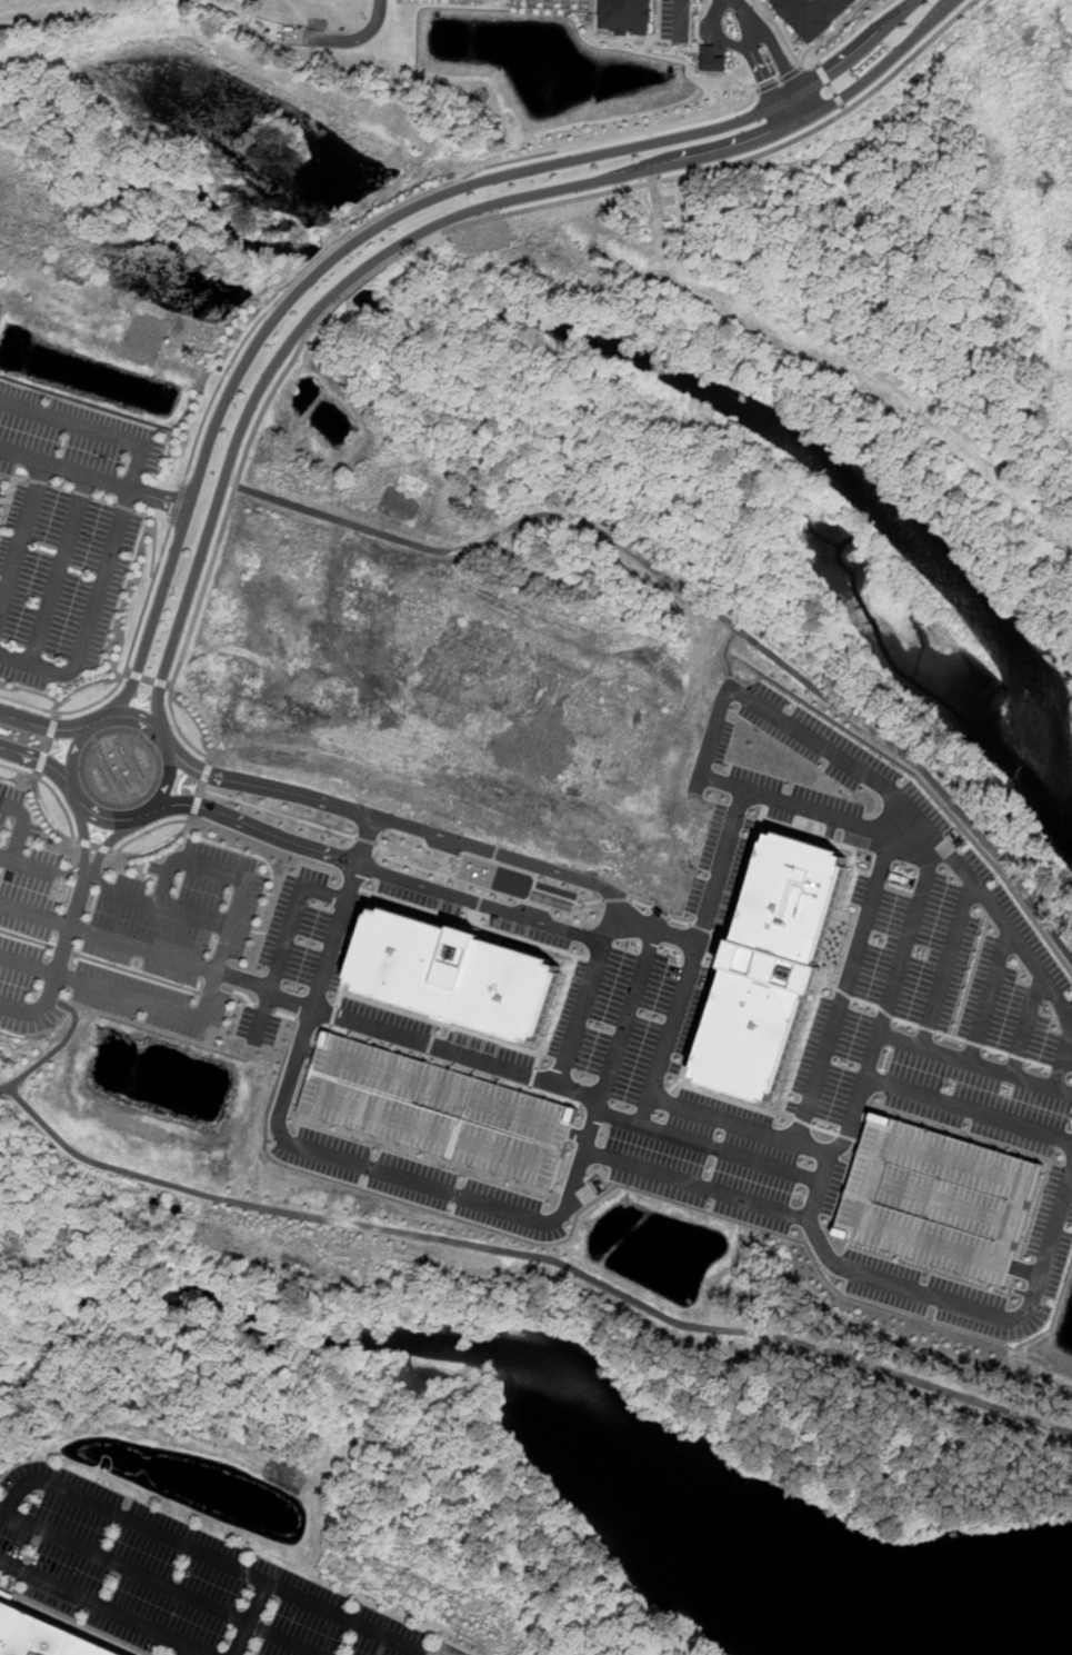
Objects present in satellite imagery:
building: (816, 14)
building: (628, 17)
road: (675, 17)
road: (743, 17)
road: (831, 32)
road: (714, 37)
road: (359, 38)
road: (863, 51)
road: (781, 59)
building: (711, 60)
road: (818, 60)
road: (759, 70)
road: (822, 73)
building: (722, 74)
road: (780, 80)
road: (832, 90)
road: (789, 100)
road: (841, 102)
road: (806, 104)
road: (781, 118)
road: (407, 202)
road: (423, 232)
road: (422, 243)
road: (314, 276)
parking lot: (74, 442)
road: (136, 461)
building: (0, 490)
building: (1, 499)
road: (158, 499)
road: (177, 504)
road: (23, 536)
road: (156, 537)
road: (58, 571)
parking lot: (60, 582)
road: (705, 602)
road: (90, 616)
road: (126, 665)
road: (127, 671)
road: (136, 674)
road: (149, 679)
road: (161, 684)
road: (170, 686)
road: (137, 720)
road: (104, 721)
road: (52, 725)
road: (50, 727)
road: (47, 745)
road: (74, 748)
road: (40, 760)
road: (41, 765)
road: (206, 772)
road: (200, 789)
road: (53, 790)
parking lot: (793, 794)
road: (196, 807)
road: (819, 810)
road: (144, 812)
road: (278, 812)
road: (21, 825)
road: (258, 829)
road: (151, 830)
road: (924, 831)
road: (86, 834)
road: (365, 839)
road: (365, 840)
road: (109, 844)
road: (96, 846)
road: (27, 865)
road: (533, 865)
road: (73, 870)
road: (100, 879)
road: (455, 879)
road: (133, 896)
parking lot: (499, 913)
parking lot: (181, 914)
parking lot: (23, 916)
road: (291, 918)
road: (72, 921)
road: (473, 924)
road: (233, 928)
parking lot: (311, 929)
road: (1011, 931)
road: (657, 934)
road: (337, 935)
road: (28, 938)
road: (109, 939)
road: (354, 949)
road: (64, 950)
road: (29, 961)
road: (946, 965)
building: (771, 966)
road: (138, 974)
building: (457, 974)
road: (212, 989)
road: (243, 993)
road: (989, 997)
road: (54, 999)
parking lot: (151, 1000)
road: (40, 1006)
parking lot: (943, 1008)
road: (267, 1009)
road: (582, 1009)
road: (677, 1010)
road: (334, 1015)
road: (288, 1016)
road: (262, 1017)
road: (625, 1021)
road: (311, 1023)
parking lot: (260, 1026)
road: (1029, 1026)
road: (337, 1027)
road: (492, 1039)
parking lot: (437, 1040)
road: (311, 1049)
road: (53, 1050)
road: (539, 1060)
road: (974, 1065)
road: (1058, 1066)
road: (522, 1074)
road: (532, 1077)
parking lot: (682, 1099)
building: (439, 1109)
parking lot: (439, 1109)
road: (969, 1109)
road: (642, 1110)
road: (859, 1129)
road: (579, 1134)
road: (814, 1149)
road: (408, 1180)
parking lot: (421, 1184)
road: (695, 1184)
building: (939, 1198)
parking garage: (939, 1198)
road: (808, 1222)
parking lot: (1046, 1252)
road: (534, 1256)
road: (1025, 1270)
road: (211, 1557)
building: (0, 1579)
parking lot: (176, 1579)
road: (160, 1581)
road: (104, 1606)
road: (249, 1618)
building: (41, 1635)
road: (186, 1649)
road: (430, 1654)

